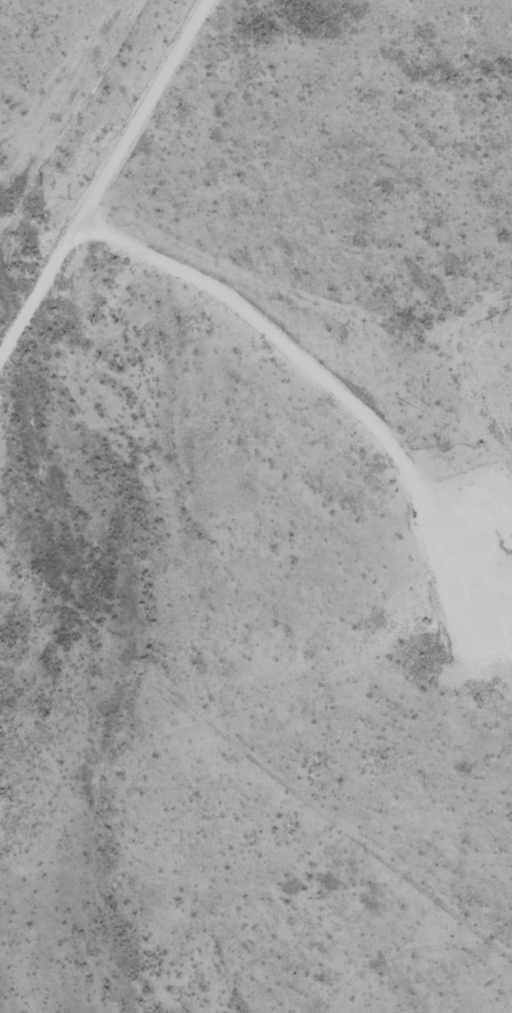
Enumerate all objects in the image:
road: (99, 173)

